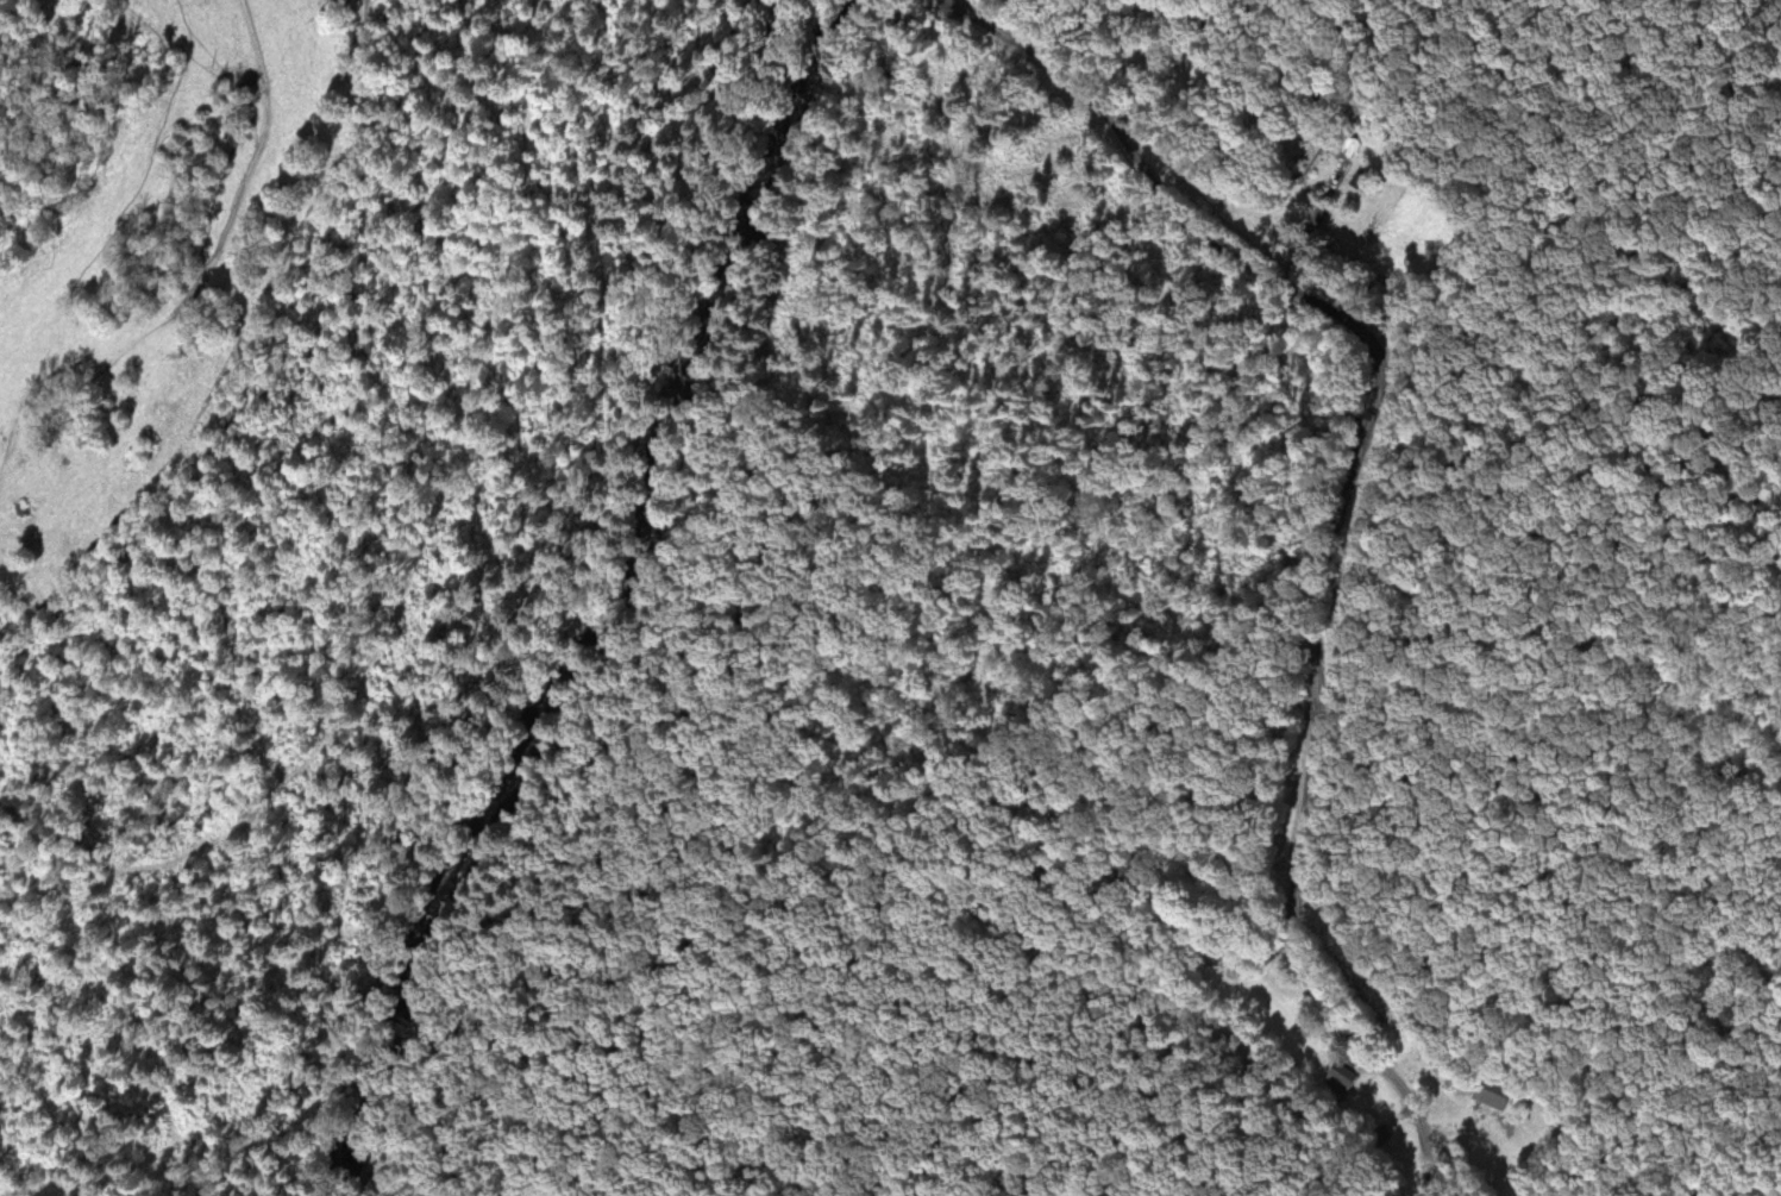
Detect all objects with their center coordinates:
road: (1338, 505)
river: (613, 607)

